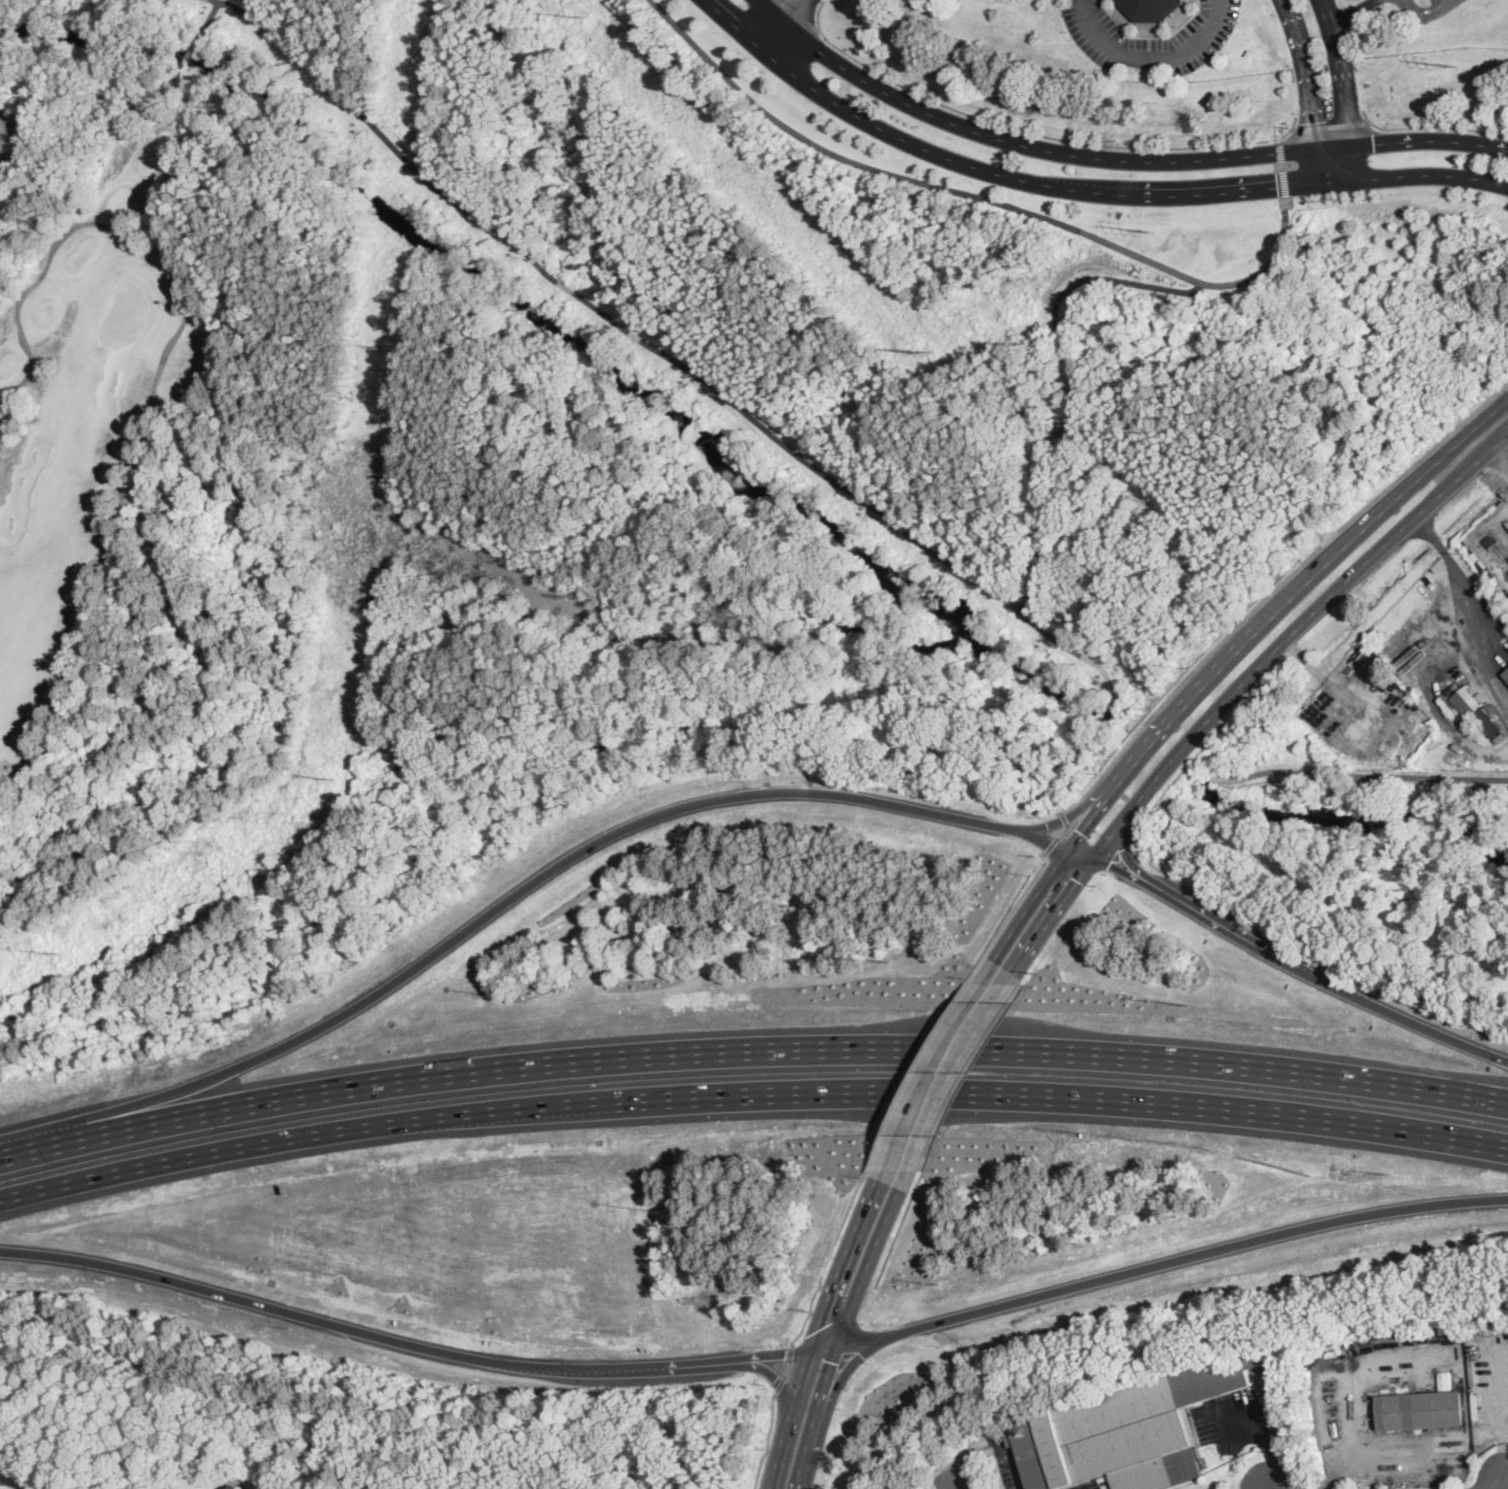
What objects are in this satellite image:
parking lot: (1423, 7)
building: (1151, 9)
road: (1351, 10)
road: (1423, 12)
road: (799, 14)
power tower: (583, 18)
road: (789, 27)
parking lot: (1150, 42)
road: (1150, 56)
power tower: (1456, 66)
road: (1342, 71)
road: (1306, 72)
road: (850, 113)
traffic signals: (1314, 121)
road: (1295, 123)
road: (1331, 125)
road: (1431, 126)
road: (1022, 130)
road: (1286, 133)
road: (388, 140)
road: (1000, 140)
road: (1394, 140)
traffic signals: (1374, 143)
road: (1350, 164)
road: (1282, 167)
road: (1324, 167)
road: (1424, 174)
traffic signals: (1278, 187)
road: (975, 195)
road: (1179, 197)
power tower: (1153, 232)
road: (565, 286)
road: (1059, 296)
road: (601, 311)
road: (634, 335)
power tower: (381, 347)
road: (173, 350)
power tower: (931, 352)
road: (673, 358)
road: (711, 383)
park: (93, 405)
road: (1495, 410)
road: (1049, 438)
road: (1498, 462)
road: (1468, 469)
road: (1037, 475)
road: (1046, 518)
road: (896, 524)
road: (1041, 571)
road: (1275, 587)
road: (1295, 594)
road: (1469, 594)
building: (1363, 654)
road: (1317, 670)
road: (1252, 672)
road: (1106, 675)
building: (1506, 675)
building: (1475, 709)
road: (1355, 774)
power tower: (334, 779)
road: (1095, 813)
road: (1070, 815)
road: (1064, 817)
road: (1063, 830)
traffic signals: (1082, 833)
road: (1050, 845)
traffic signals: (1125, 846)
traffic signals: (1108, 864)
road: (1145, 872)
traffic signals: (1077, 880)
road: (529, 883)
road: (1030, 903)
road: (1015, 905)
road: (1053, 914)
power tower: (62, 953)
road: (1296, 965)
road: (751, 1050)
road: (920, 1067)
road: (931, 1067)
road: (952, 1078)
road: (751, 1093)
road: (826, 1261)
road: (1156, 1265)
traffic signals: (817, 1330)
road: (816, 1331)
road: (839, 1336)
road: (400, 1343)
road: (791, 1353)
traffic signals: (786, 1356)
traffic signals: (832, 1362)
road: (847, 1366)
road: (787, 1369)
road: (772, 1374)
road: (781, 1385)
building: (1423, 1408)
building: (1129, 1429)
road: (1273, 1440)
road: (768, 1441)
road: (1406, 1452)
building: (1102, 1478)
road: (1502, 1484)
building: (238, 1487)

